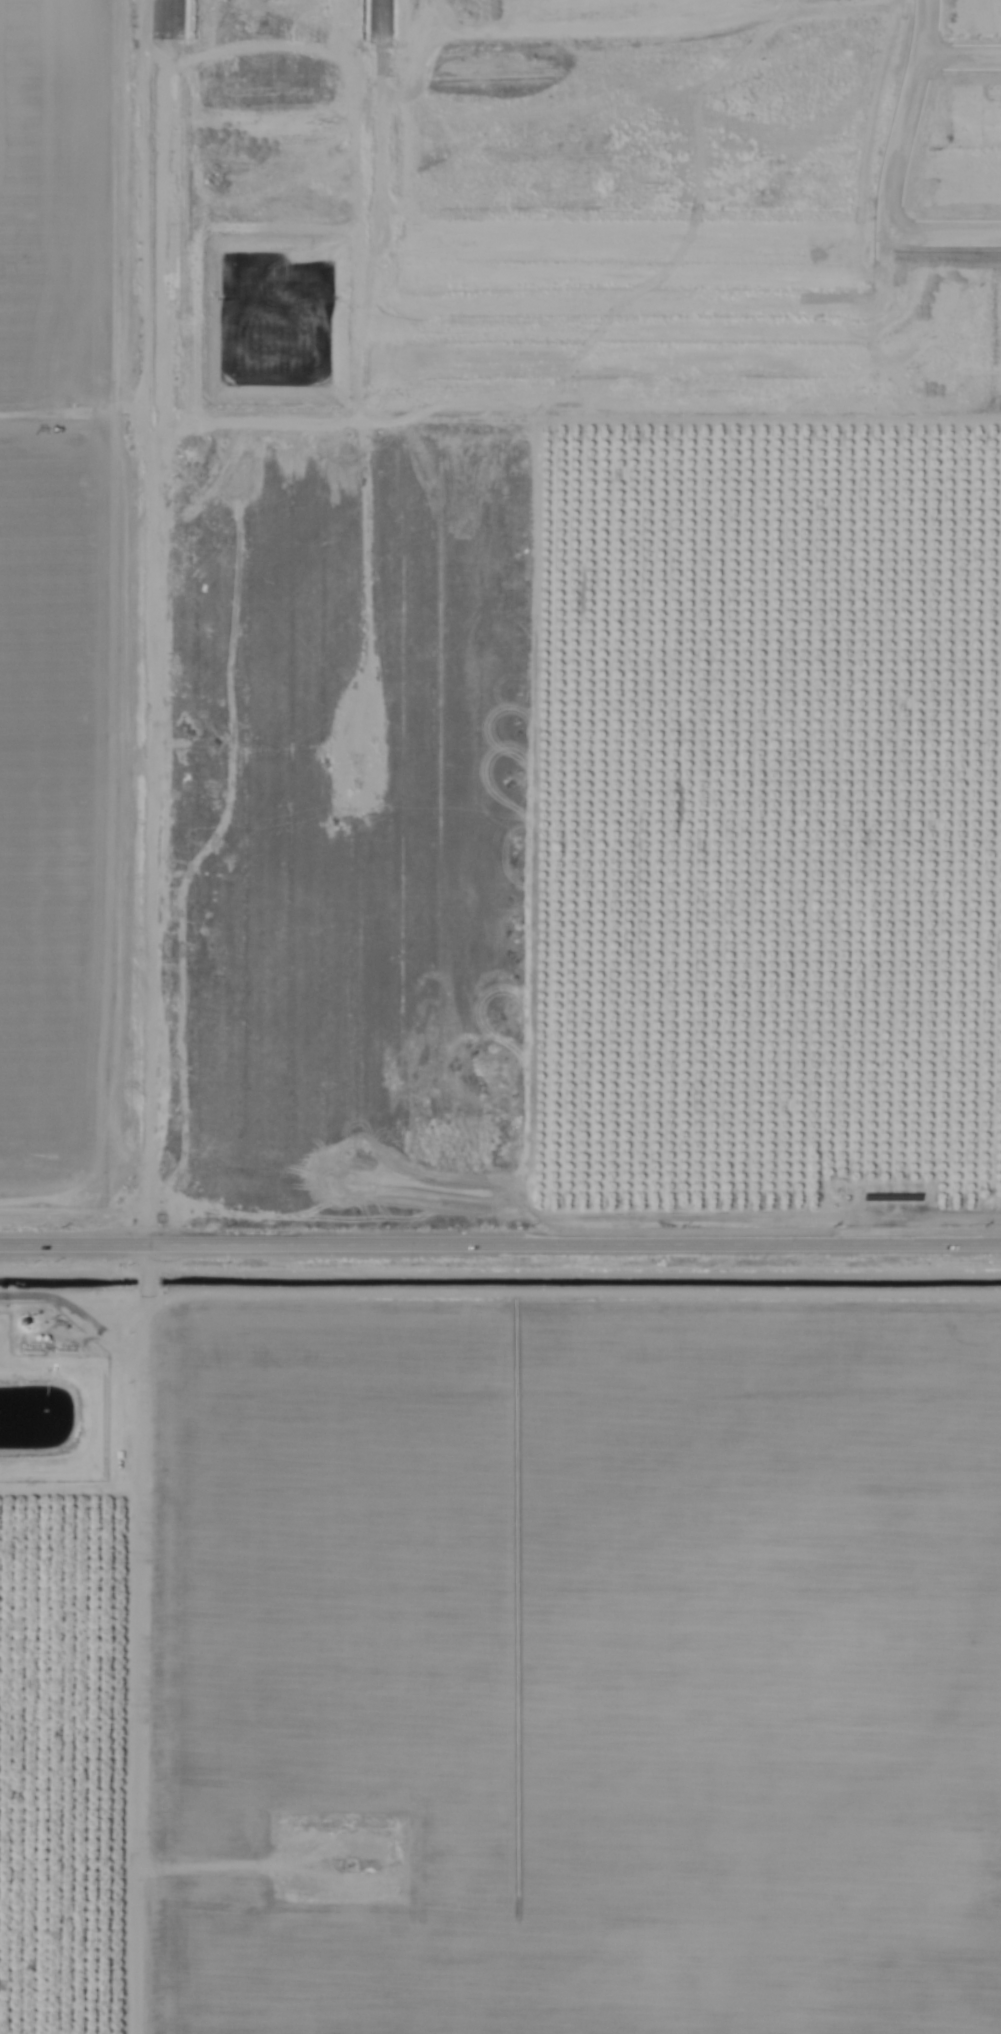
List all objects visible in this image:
road: (958, 55)
road: (897, 146)
road: (384, 149)
road: (940, 234)
road: (631, 296)
road: (154, 622)
road: (500, 1244)
road: (149, 1639)

